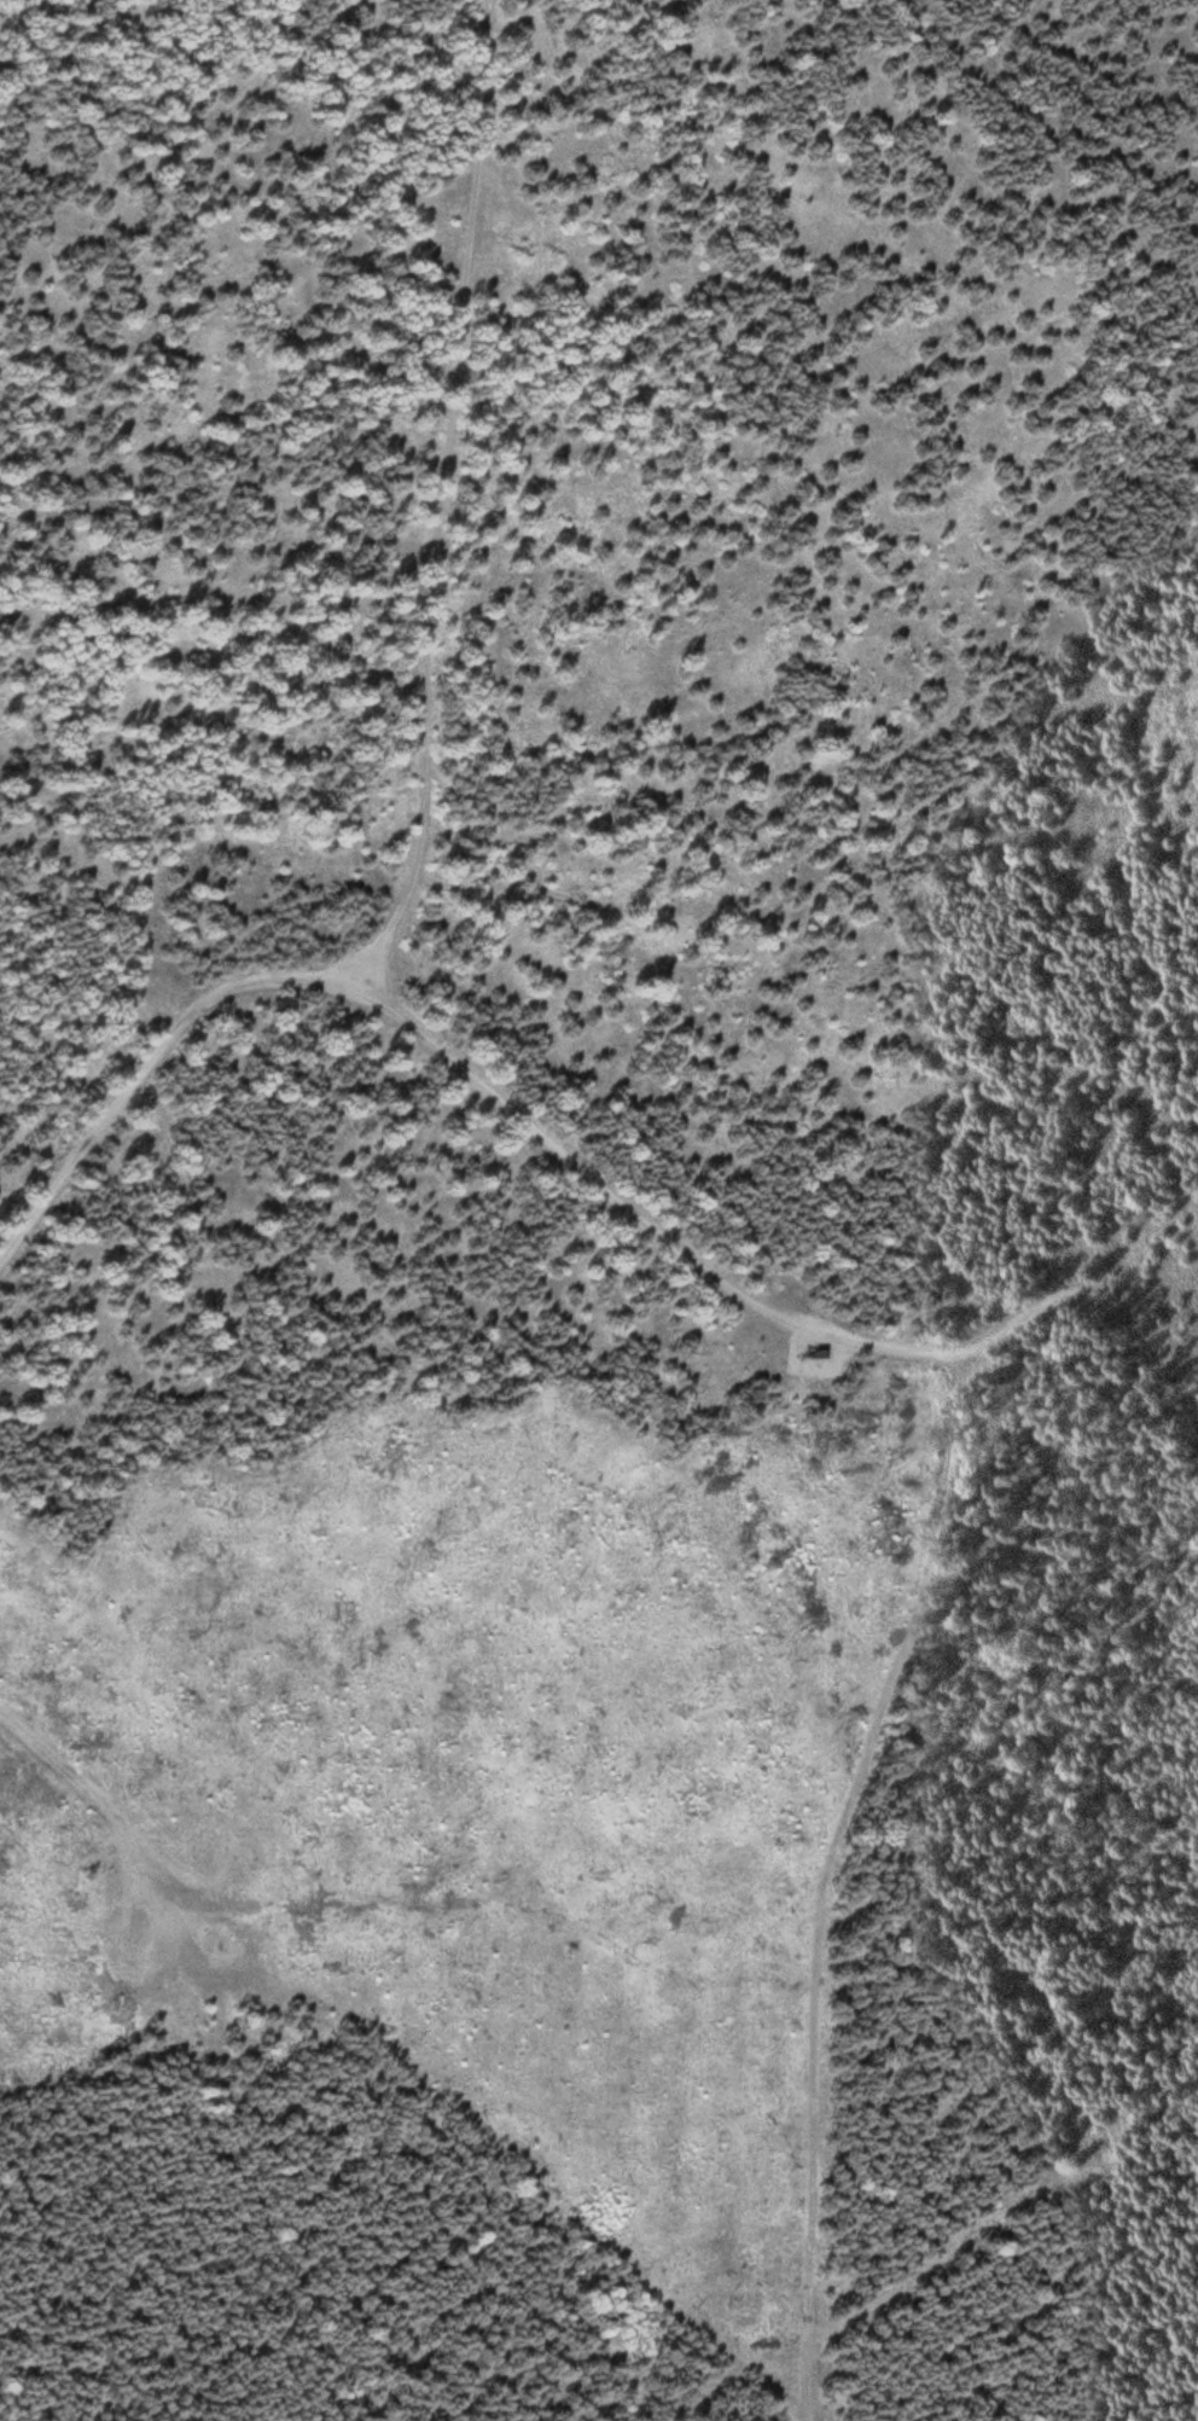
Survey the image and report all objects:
road: (1036, 122)
road: (446, 495)
road: (495, 1088)
road: (1139, 1224)
road: (1152, 1330)
petroleum well: (820, 1357)
road: (89, 1801)
road: (820, 1870)
petroleum well: (228, 1941)

